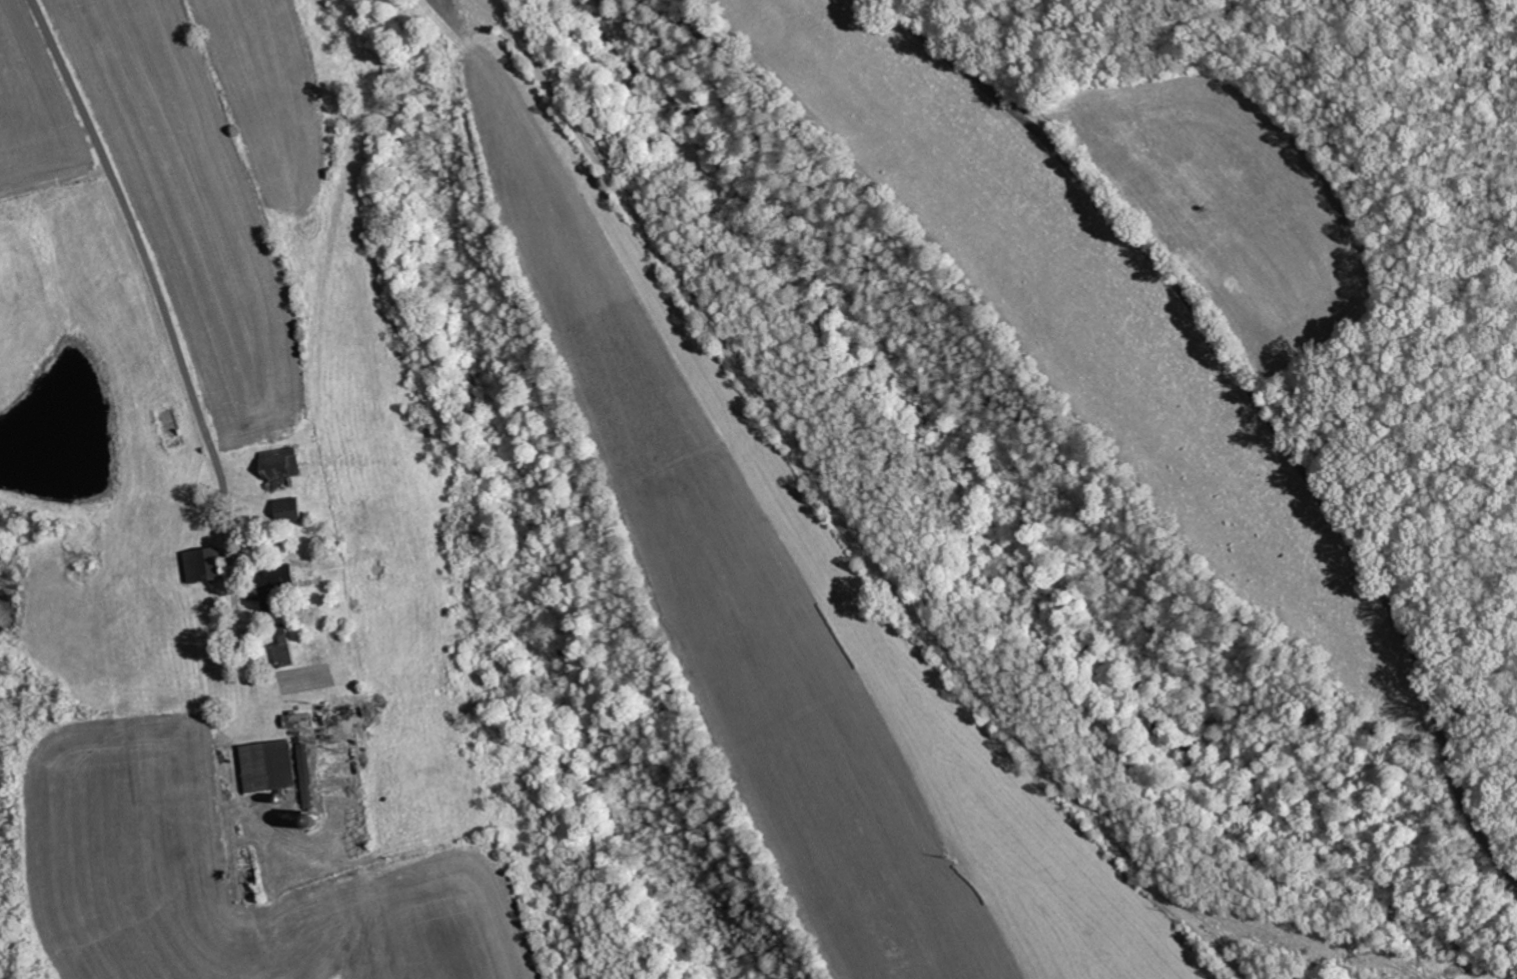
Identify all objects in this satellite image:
road: (132, 226)
road: (1258, 403)
building: (279, 462)
building: (203, 565)
building: (273, 586)
building: (281, 647)
building: (299, 718)
building: (267, 766)
building: (306, 776)

